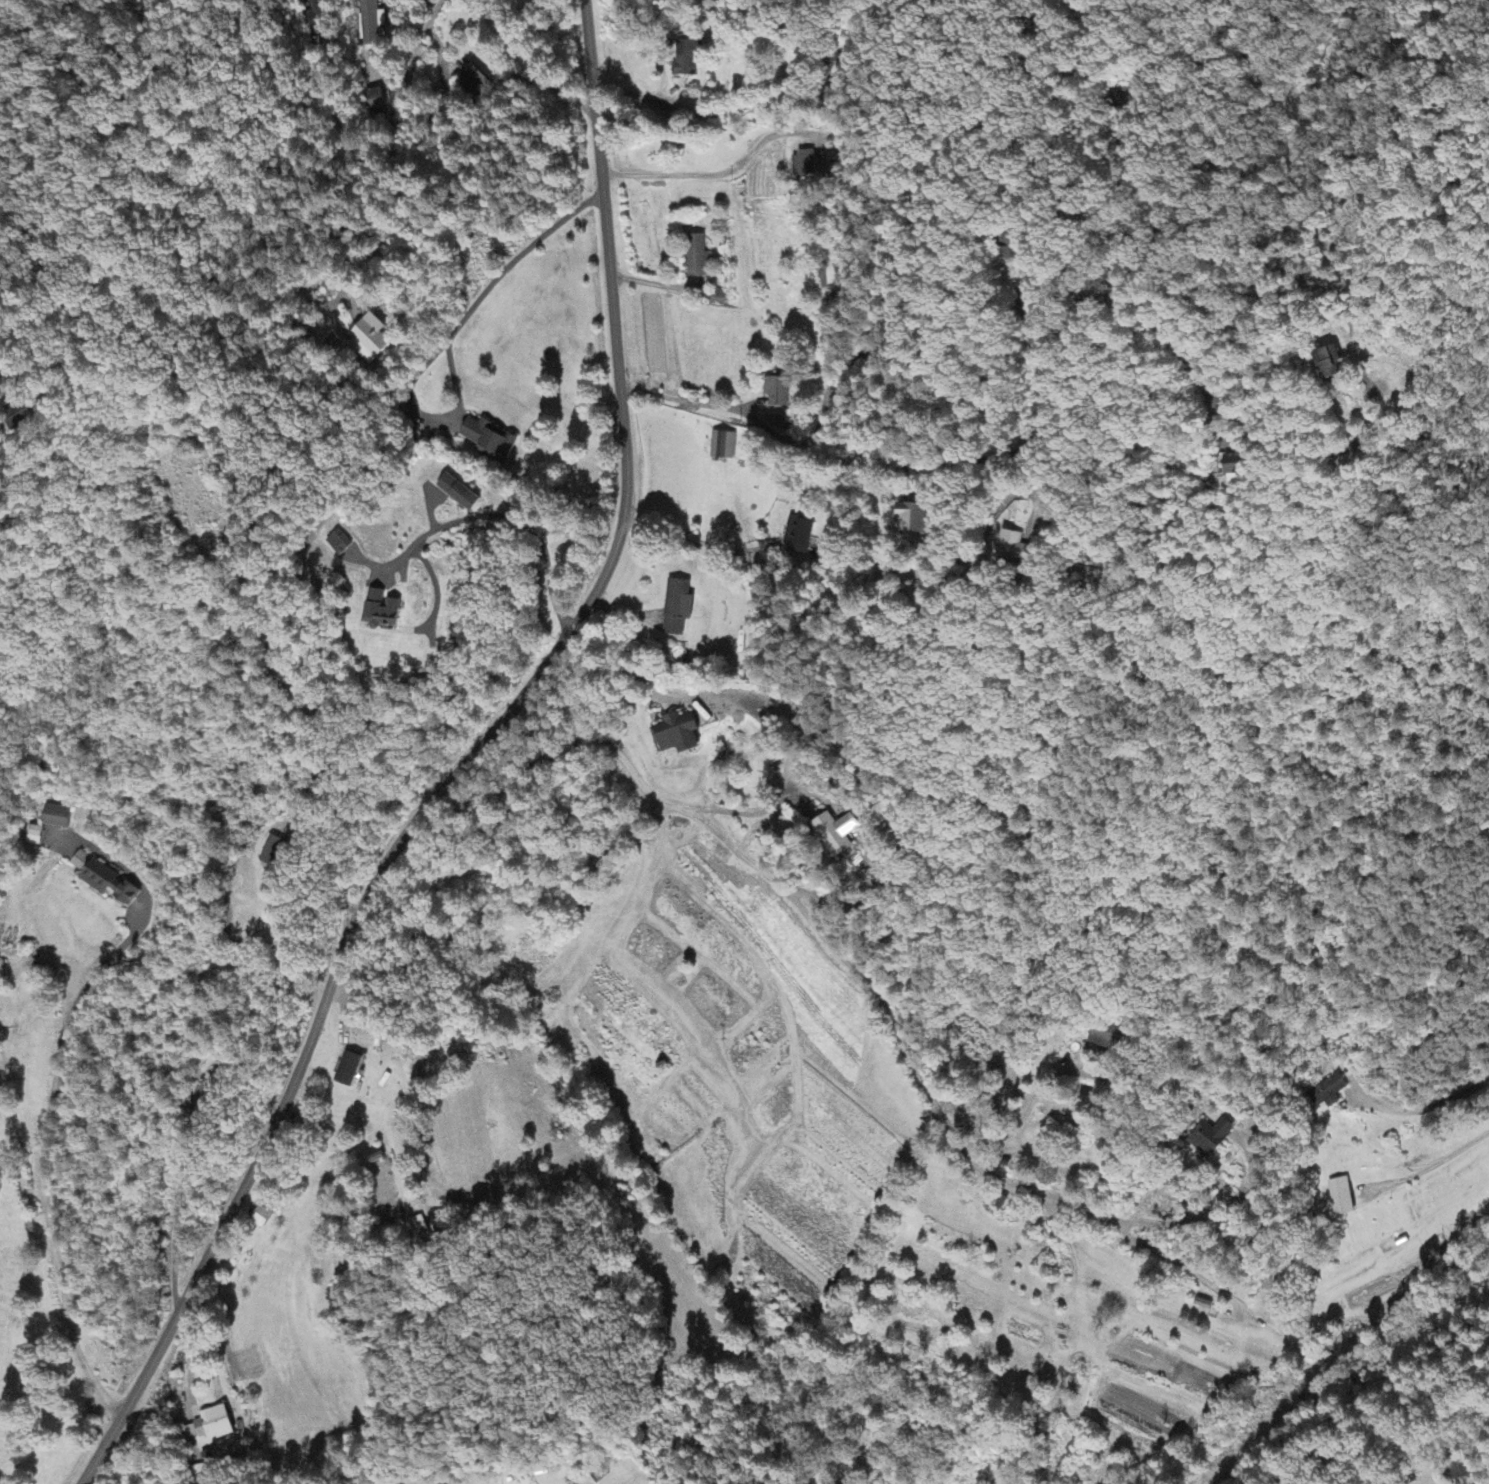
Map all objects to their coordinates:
building: (313, 13)
building: (370, 22)
building: (684, 59)
road: (531, 63)
building: (476, 85)
building: (374, 100)
road: (976, 118)
road: (391, 139)
building: (803, 163)
building: (1010, 245)
building: (695, 257)
building: (716, 297)
building: (369, 340)
building: (1330, 364)
road: (20, 368)
building: (776, 392)
building: (17, 416)
building: (776, 421)
building: (488, 438)
building: (721, 446)
building: (1234, 465)
building: (457, 493)
building: (912, 518)
building: (797, 537)
building: (337, 543)
building: (1013, 548)
building: (676, 608)
building: (380, 611)
road: (839, 614)
building: (678, 734)
road: (462, 766)
building: (55, 818)
building: (836, 833)
building: (33, 836)
building: (273, 853)
building: (102, 880)
road: (785, 891)
building: (1105, 1037)
building: (348, 1071)
building: (1327, 1093)
building: (1211, 1138)
road: (1447, 1138)
building: (1342, 1198)
building: (261, 1218)
road: (50, 1224)
building: (214, 1424)

